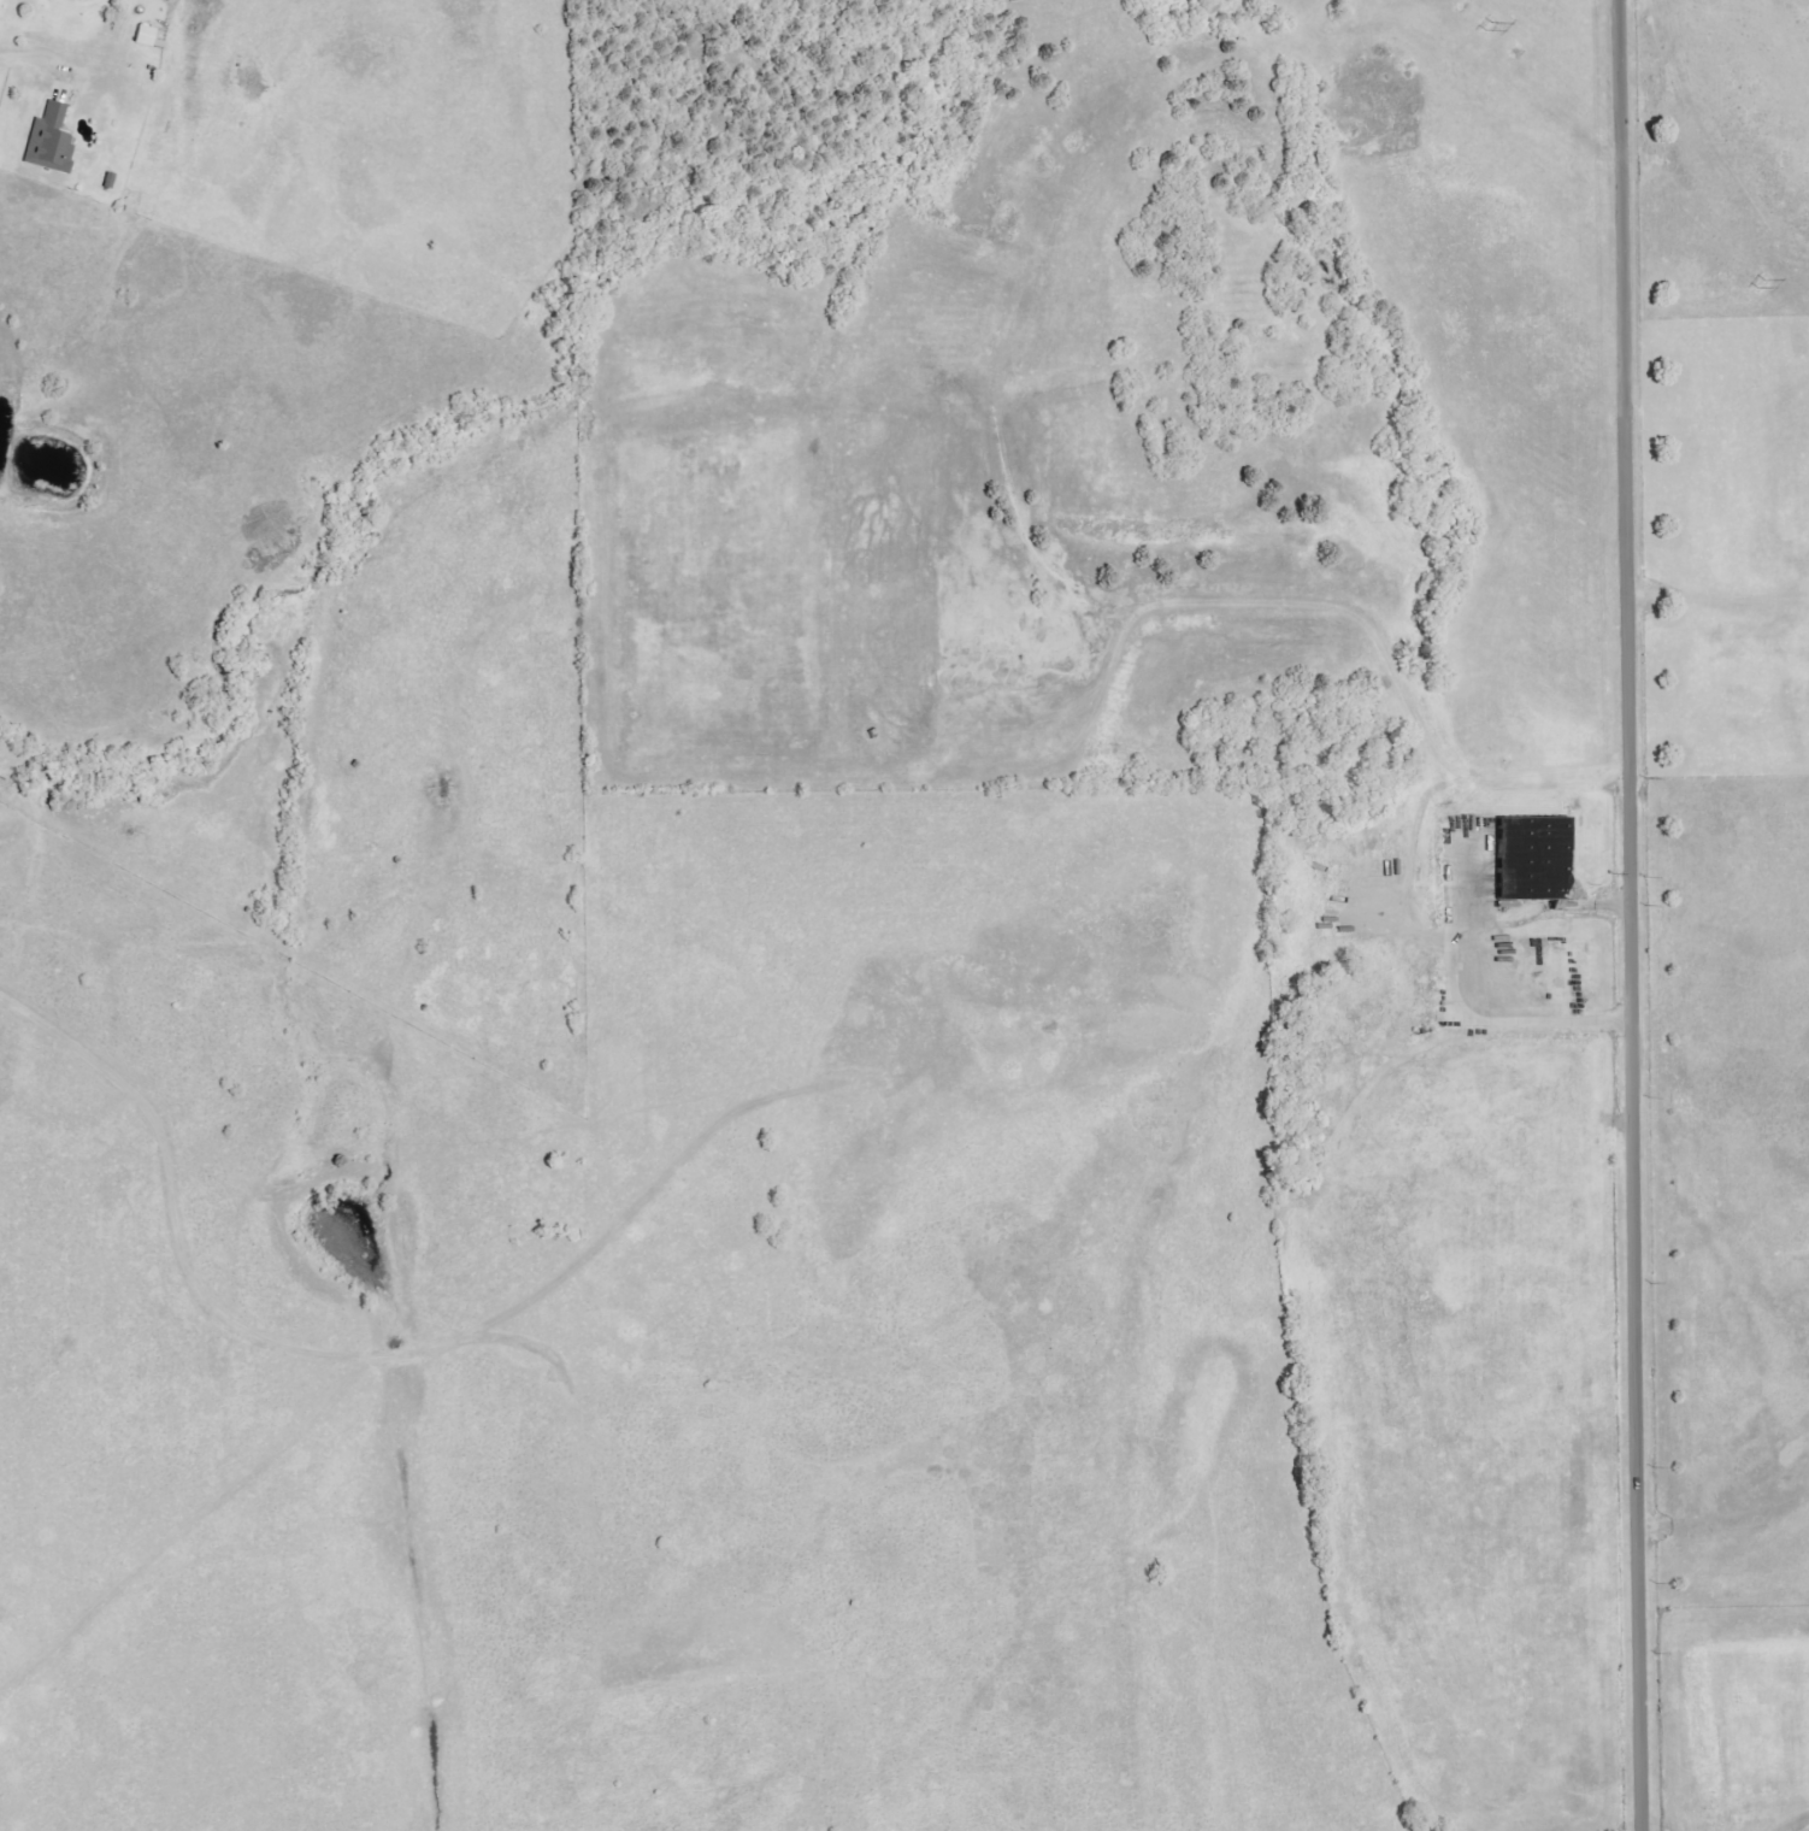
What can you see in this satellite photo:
power tower: (1472, 17)
building: (143, 36)
road: (25, 59)
building: (43, 137)
power tower: (1755, 282)
building: (1528, 858)
road: (1634, 915)
road: (1462, 1017)

